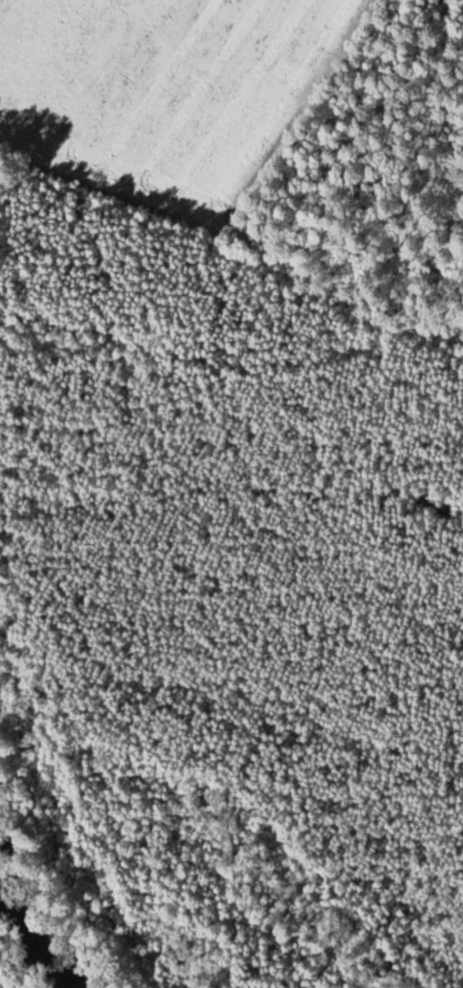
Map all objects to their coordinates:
river: (37, 924)

